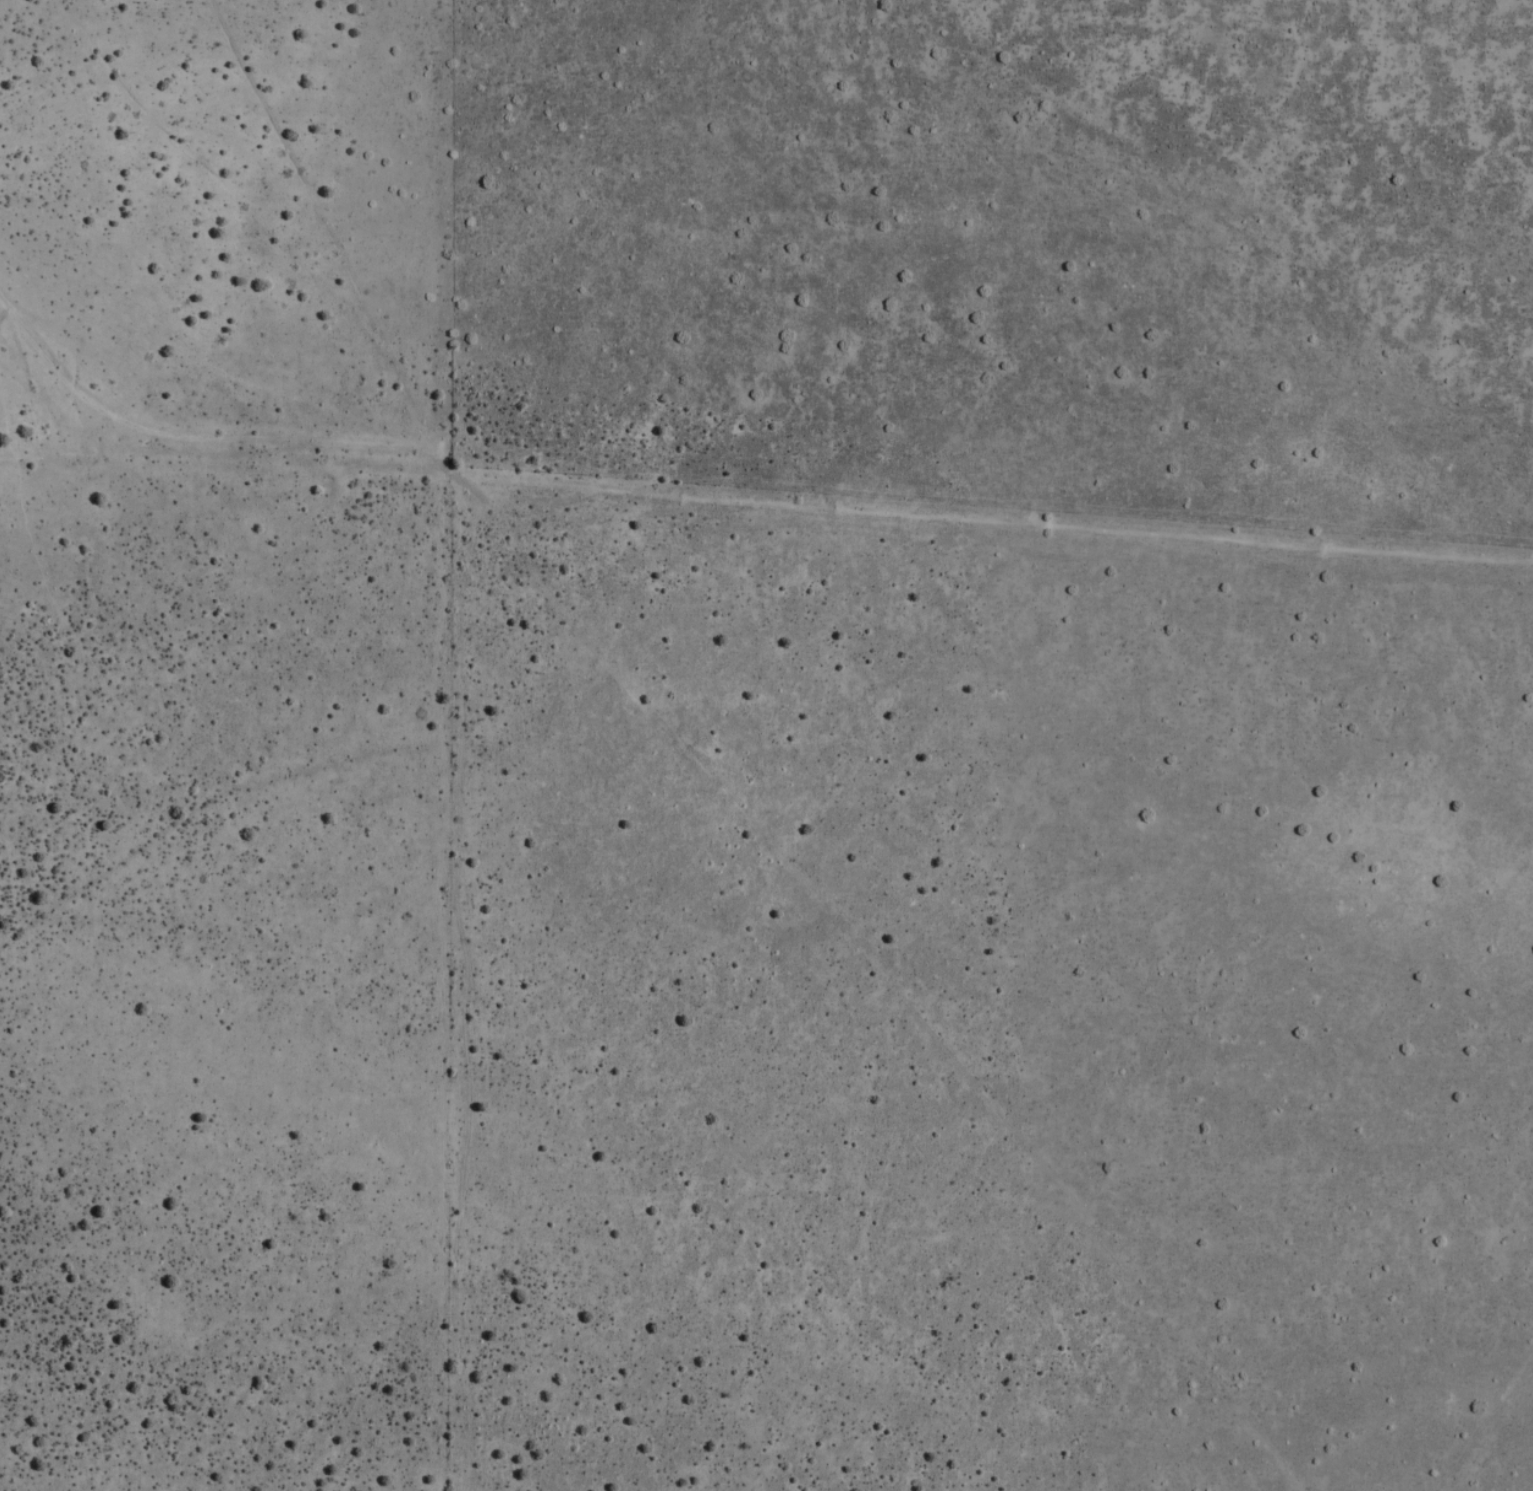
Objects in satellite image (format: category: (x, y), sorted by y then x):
road: (728, 460)

